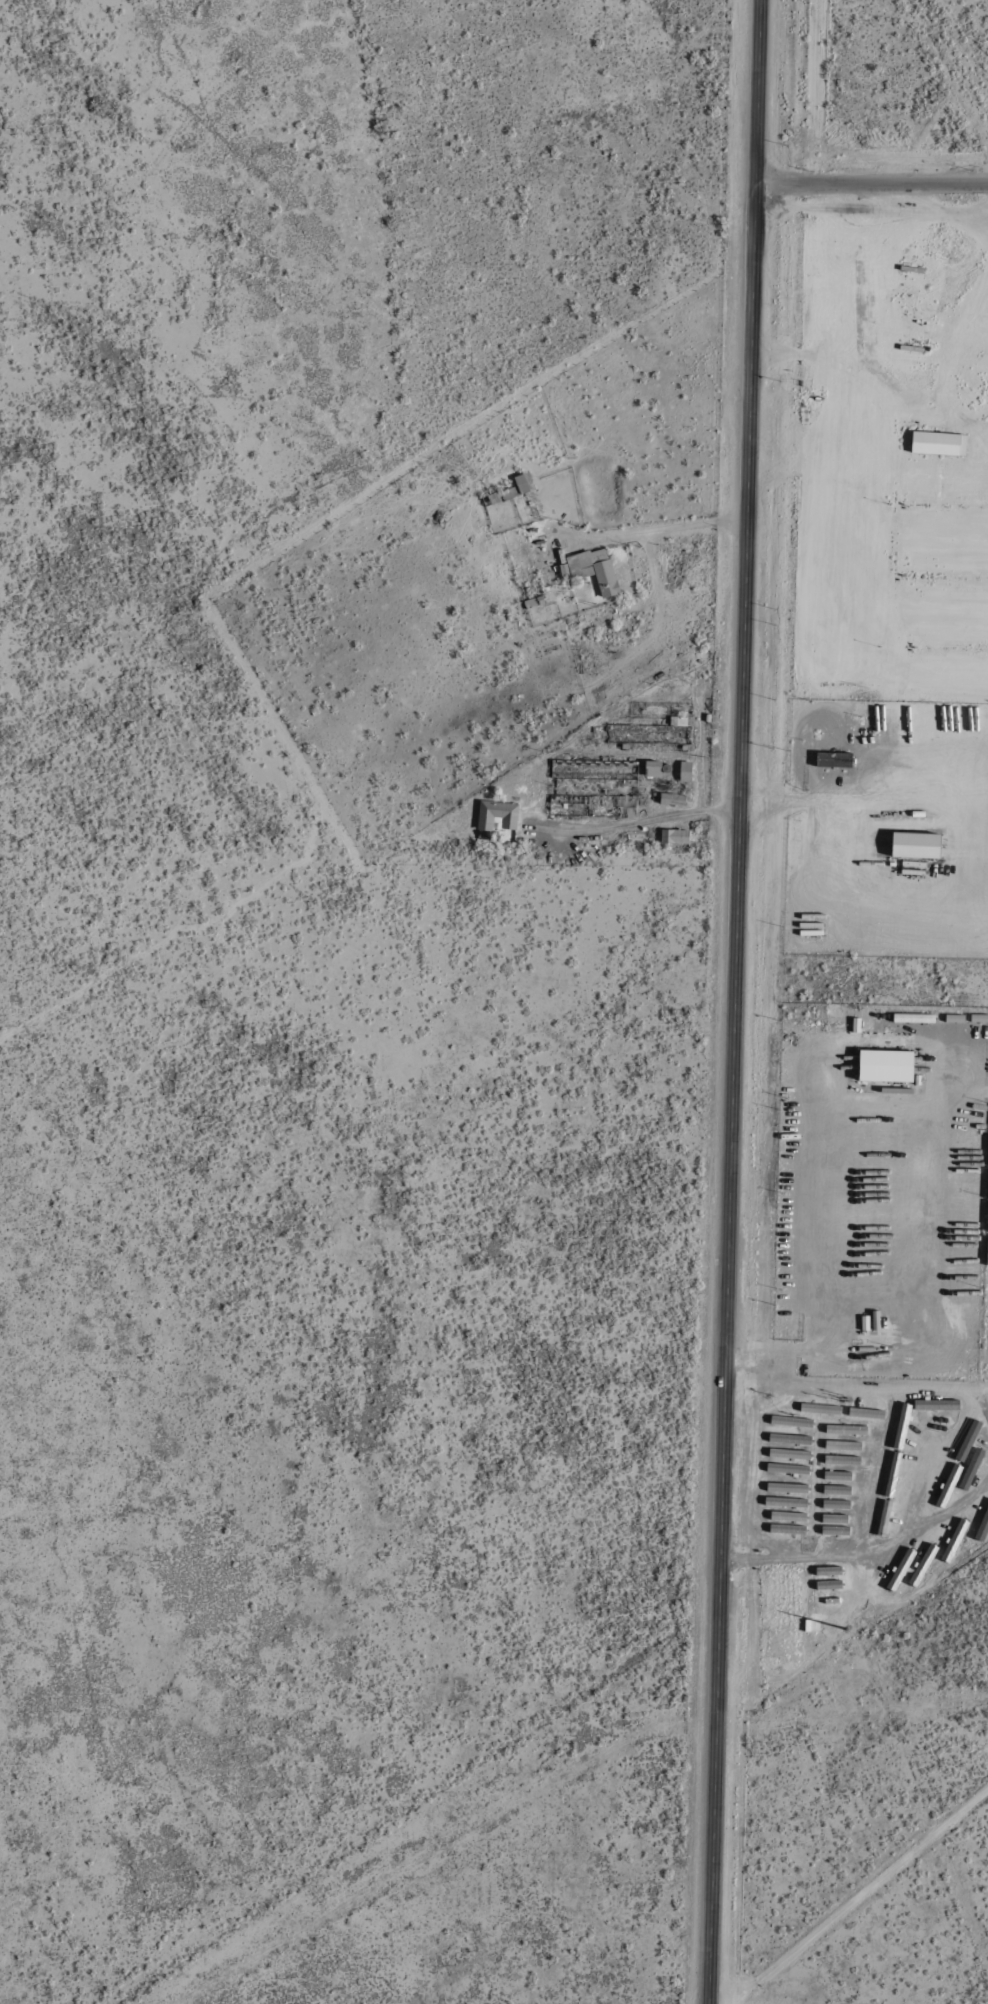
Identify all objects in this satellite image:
road: (870, 183)
building: (936, 444)
building: (521, 484)
building: (494, 498)
road: (662, 530)
building: (591, 570)
building: (533, 602)
building: (667, 727)
building: (832, 760)
building: (651, 770)
building: (684, 773)
building: (601, 776)
building: (671, 800)
road: (804, 806)
building: (626, 807)
building: (495, 816)
road: (643, 822)
building: (674, 837)
building: (912, 845)
road: (733, 1002)
building: (911, 1019)
building: (882, 1066)
building: (960, 1258)
building: (933, 1405)
building: (819, 1409)
building: (864, 1413)
building: (790, 1422)
building: (900, 1427)
building: (844, 1430)
building: (788, 1440)
building: (842, 1446)
building: (788, 1455)
building: (841, 1461)
building: (786, 1470)
building: (836, 1476)
building: (786, 1489)
building: (836, 1491)
building: (784, 1503)
building: (835, 1505)
building: (986, 1513)
building: (786, 1517)
building: (833, 1519)
building: (882, 1519)
building: (786, 1530)
building: (834, 1531)
building: (981, 1534)
building: (952, 1541)
road: (864, 1552)
building: (920, 1566)
building: (898, 1570)
building: (826, 1572)
building: (827, 1586)

